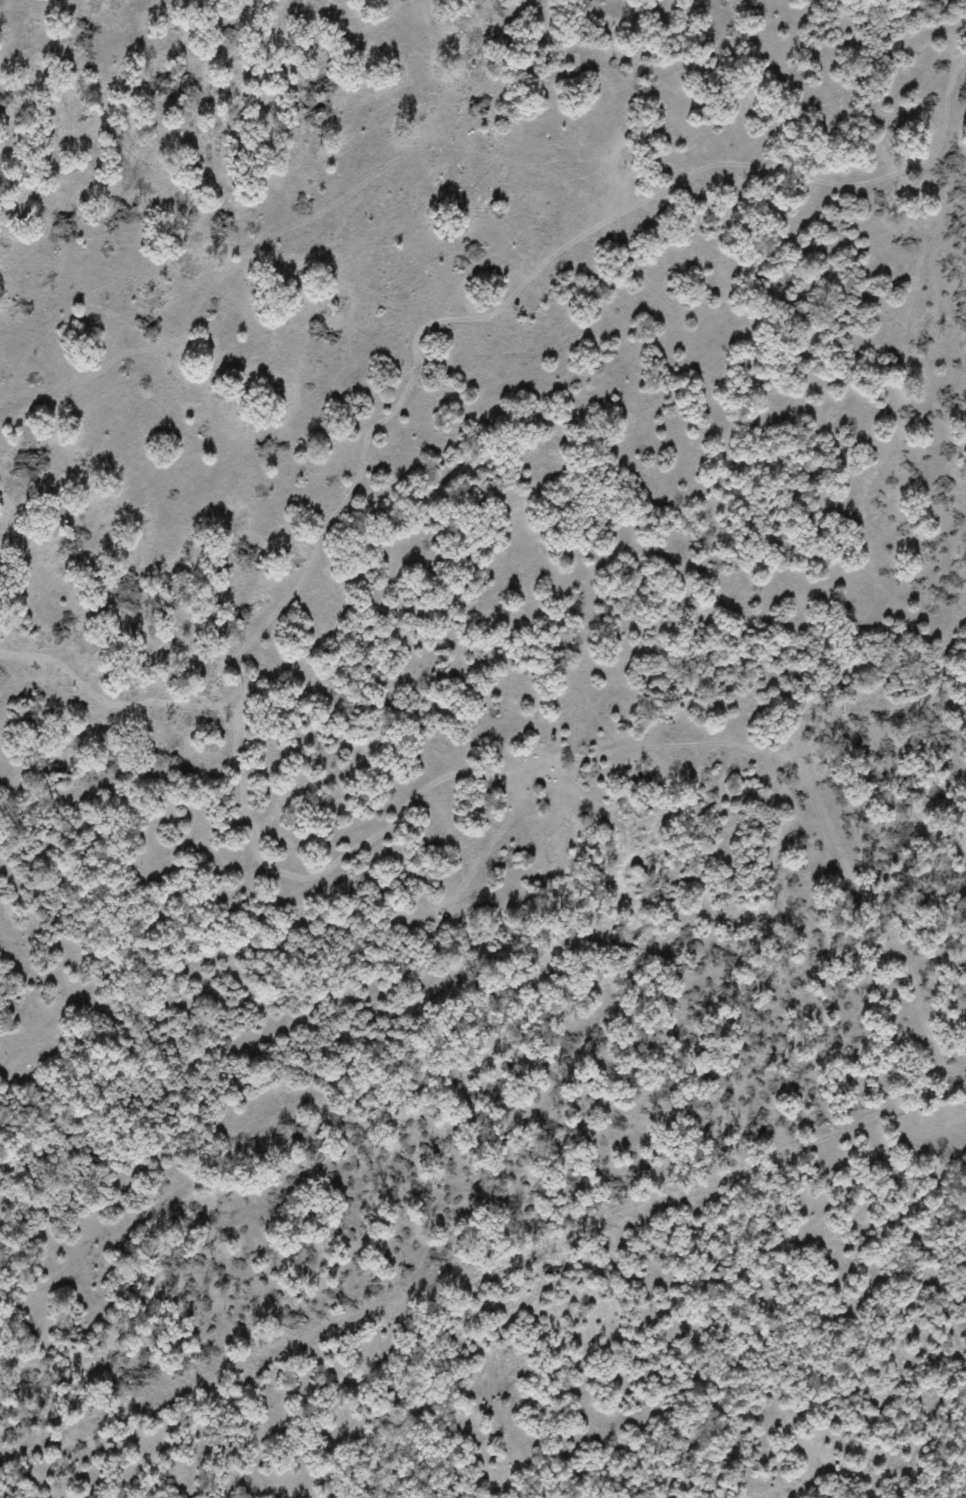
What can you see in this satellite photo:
quarry: (942, 1197)
quarry: (601, 1372)

